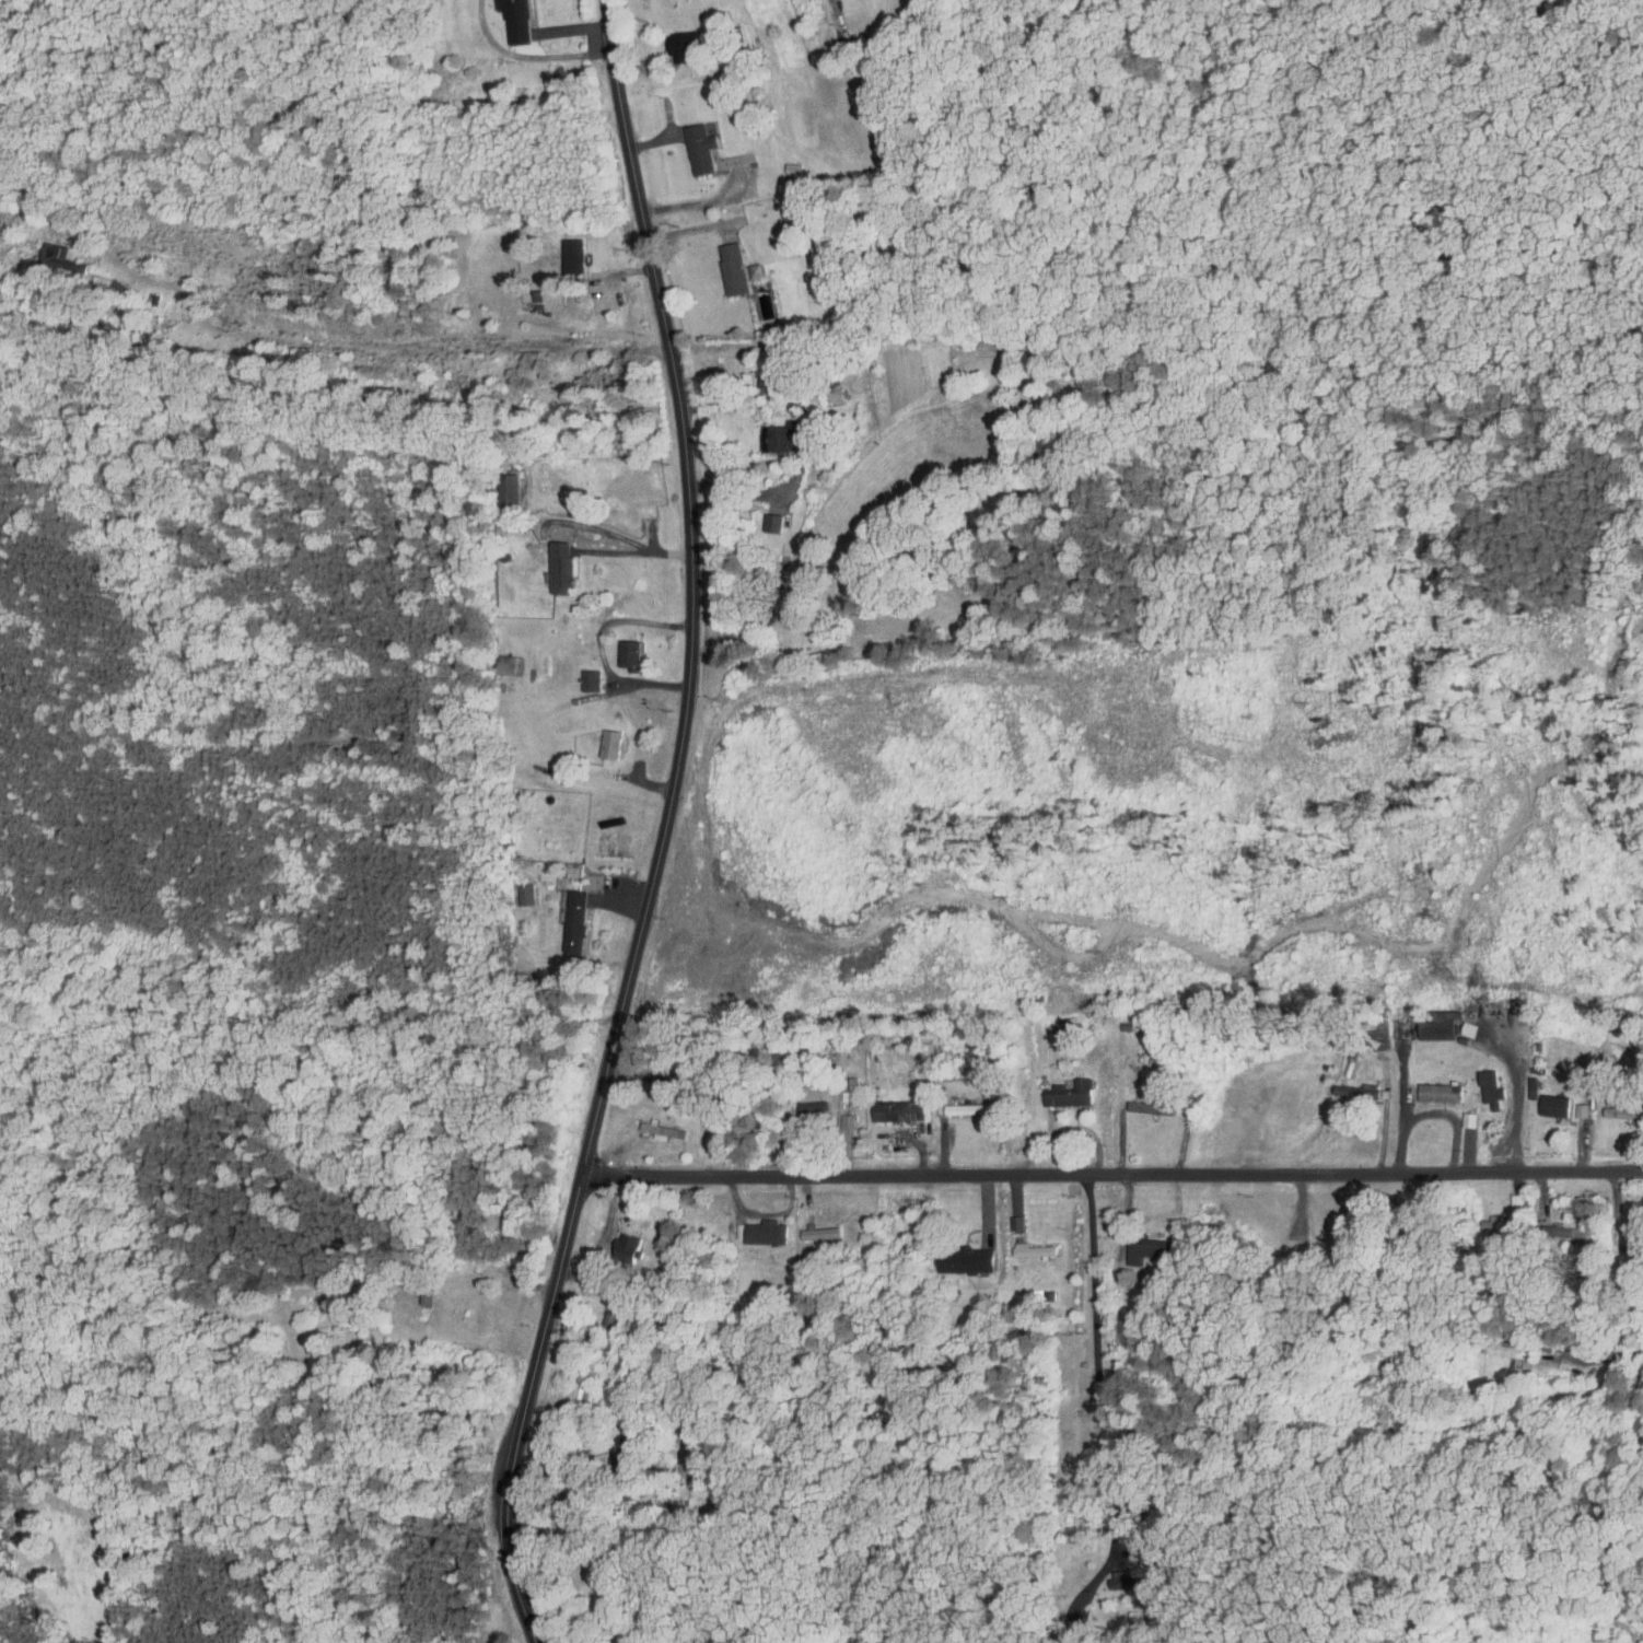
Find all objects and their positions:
building: (509, 18)
road: (571, 27)
building: (676, 40)
building: (691, 142)
building: (779, 215)
building: (562, 248)
building: (724, 263)
road: (374, 351)
road: (733, 398)
building: (774, 431)
building: (764, 516)
road: (624, 538)
building: (552, 559)
building: (620, 646)
road: (598, 648)
building: (581, 674)
building: (601, 737)
road: (664, 828)
building: (566, 916)
building: (1418, 1019)
building: (1054, 1029)
road: (1150, 1057)
building: (1477, 1083)
building: (1425, 1086)
building: (1060, 1087)
building: (1340, 1087)
road: (1518, 1097)
building: (959, 1103)
building: (804, 1104)
building: (889, 1105)
building: (1568, 1105)
road: (1402, 1106)
building: (1604, 1106)
building: (1455, 1114)
road: (1454, 1119)
building: (653, 1125)
road: (1383, 1140)
road: (1599, 1173)
road: (1067, 1175)
building: (1477, 1216)
building: (1547, 1225)
building: (757, 1226)
building: (812, 1226)
road: (1273, 1227)
road: (1542, 1233)
building: (619, 1244)
building: (1024, 1244)
building: (1140, 1245)
building: (960, 1255)
road: (1600, 1357)
road: (1097, 1363)

